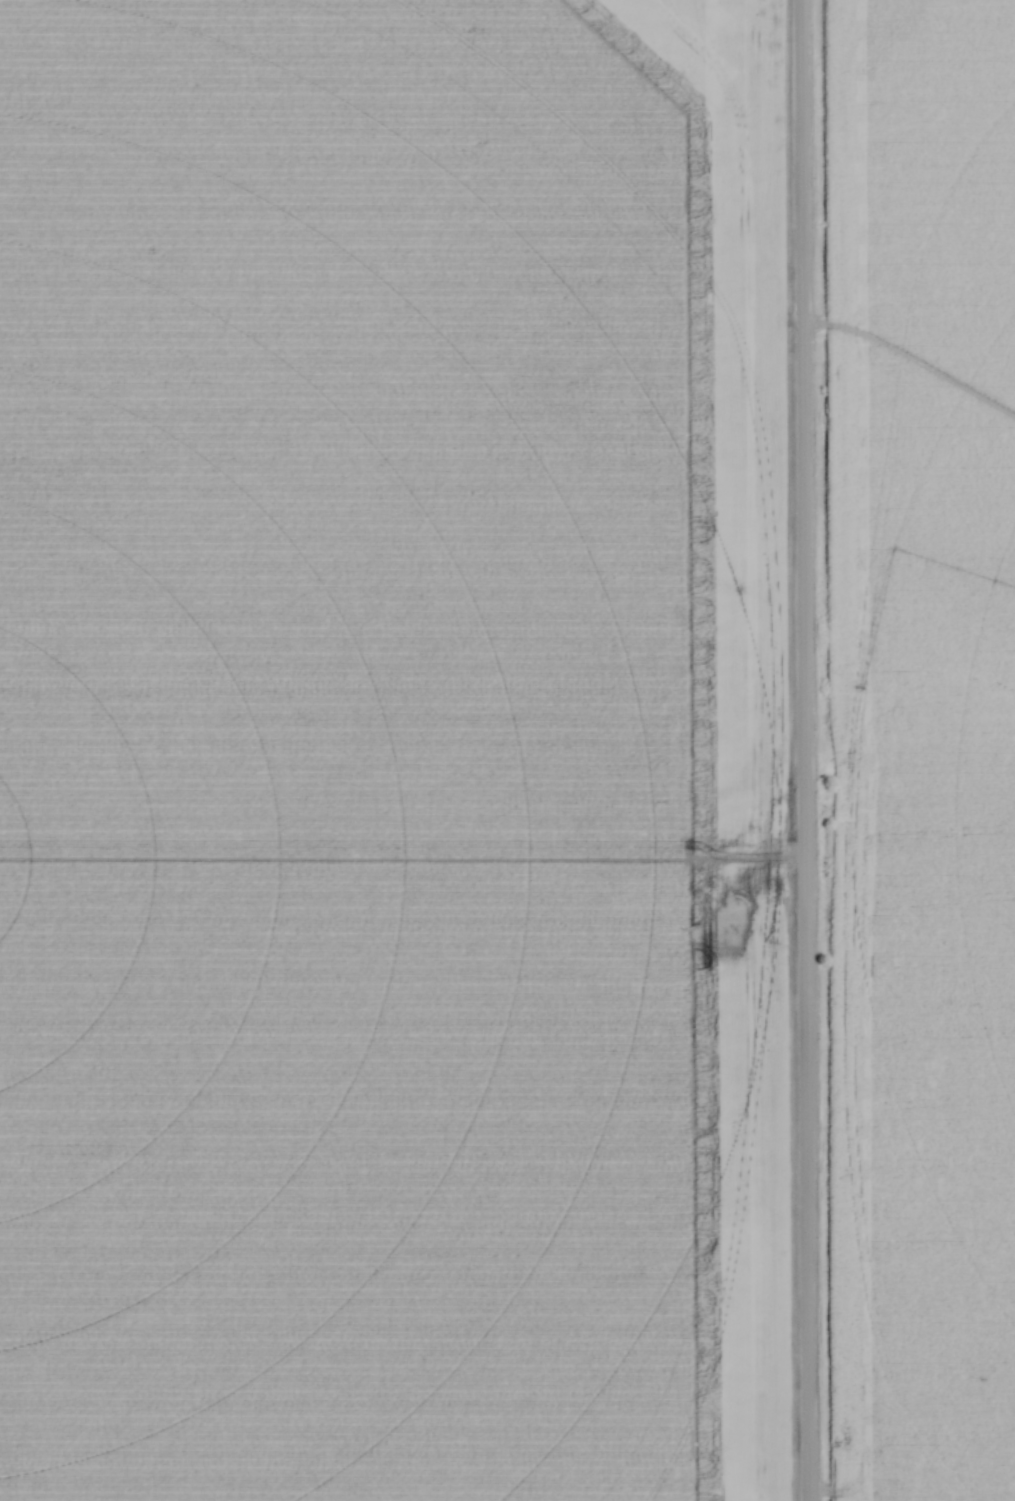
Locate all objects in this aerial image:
road: (801, 750)

